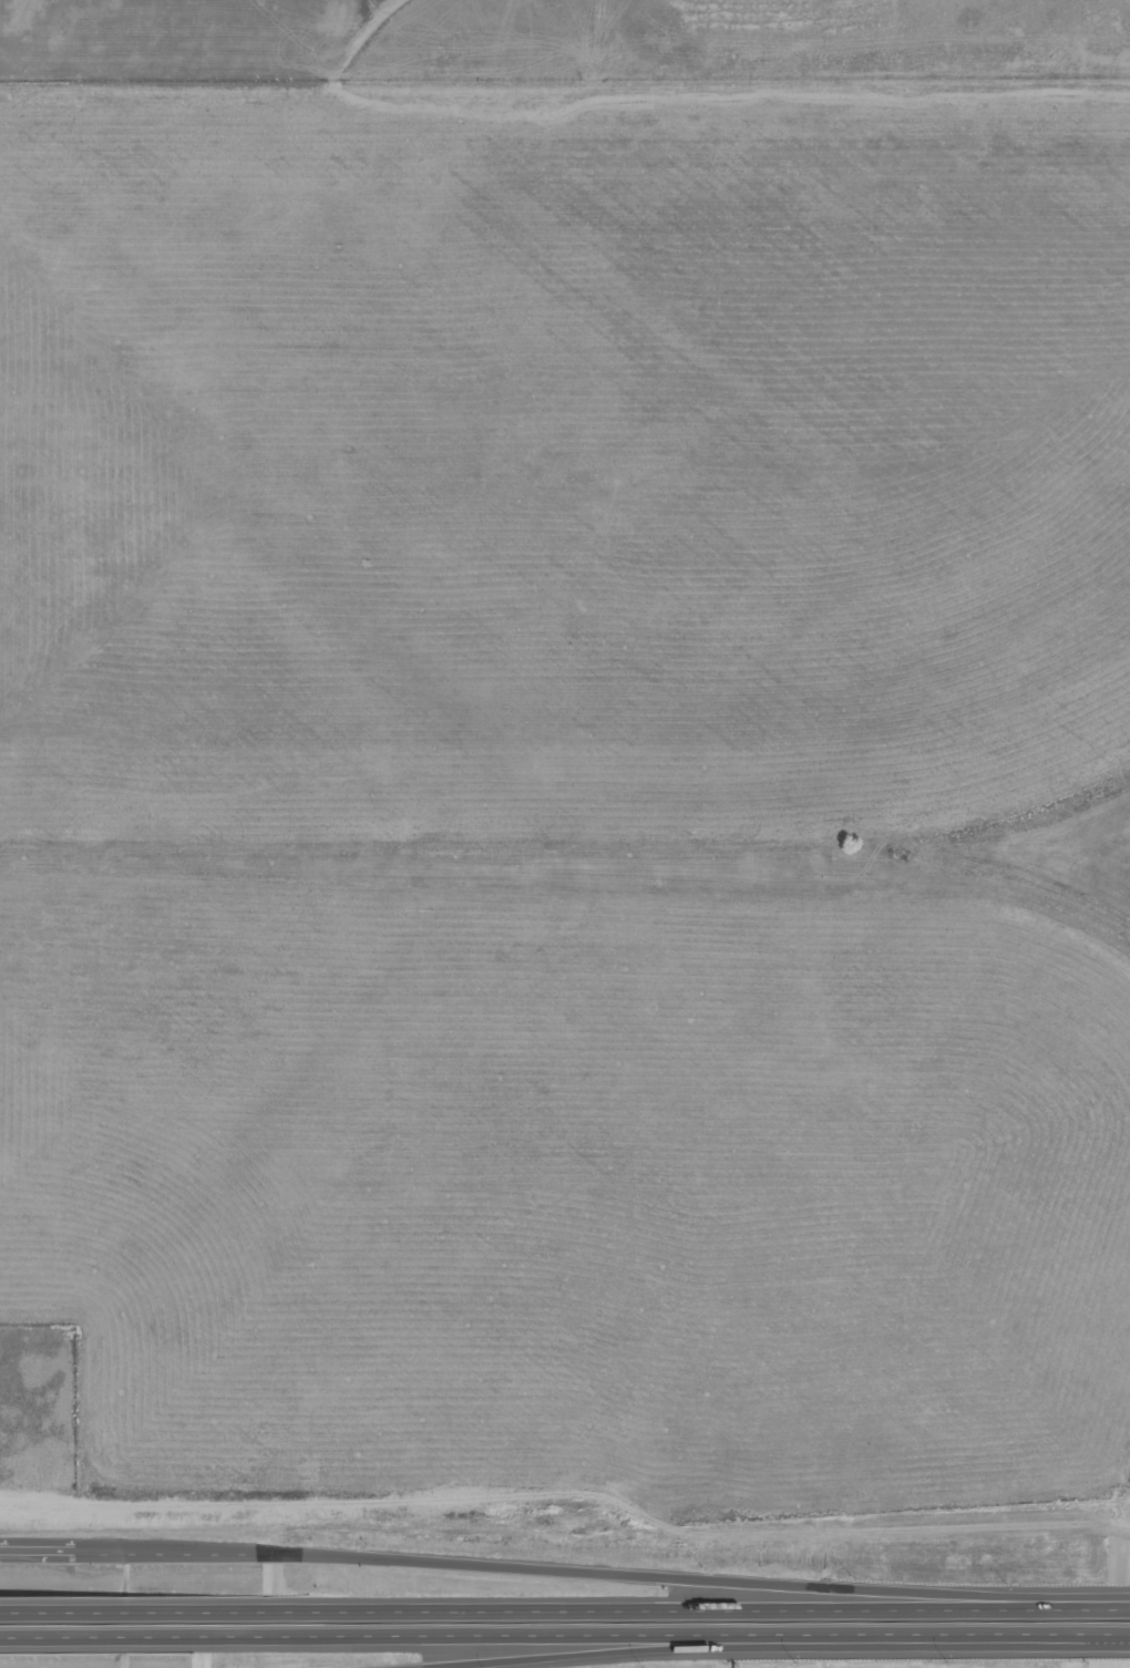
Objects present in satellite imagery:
road: (564, 1534)
road: (566, 1574)
road: (702, 1602)
road: (137, 1606)
road: (565, 1645)
road: (522, 1656)

